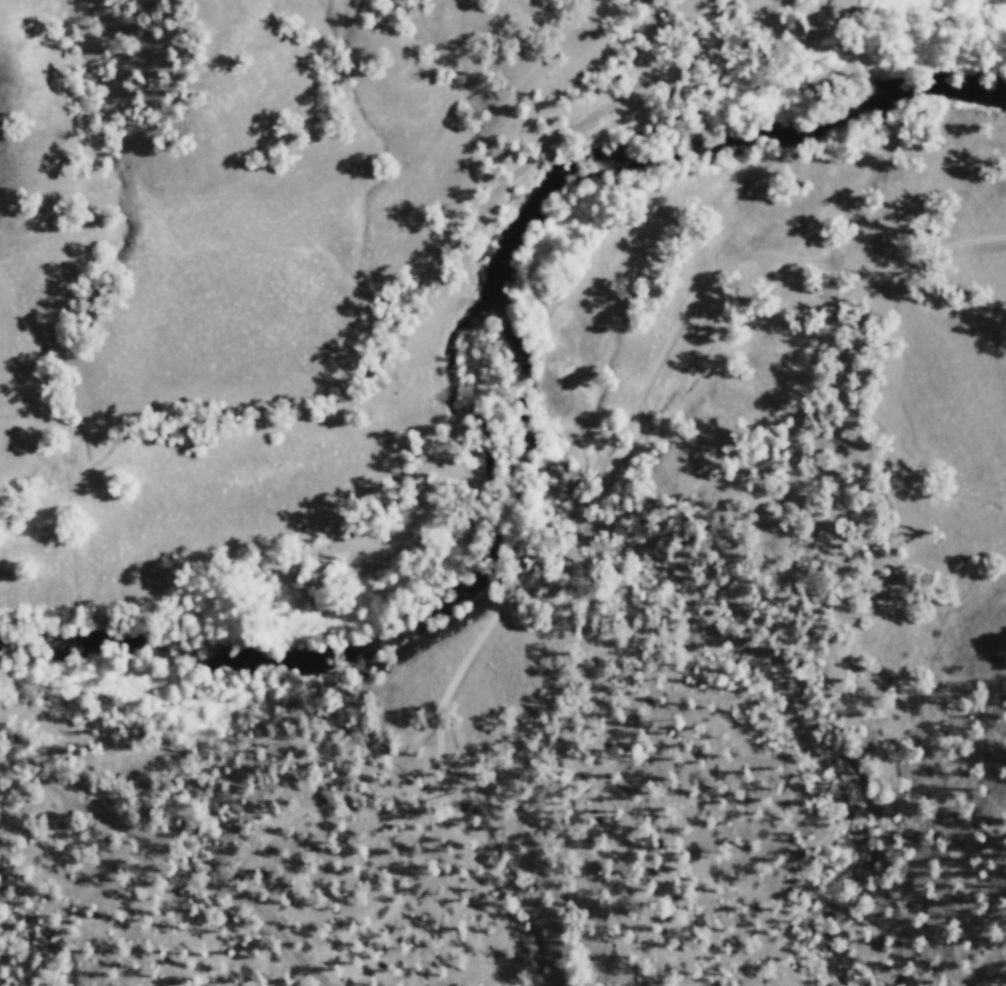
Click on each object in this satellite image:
river: (911, 87)
river: (518, 211)
road: (866, 273)
road: (467, 657)
river: (281, 660)
road: (170, 868)

